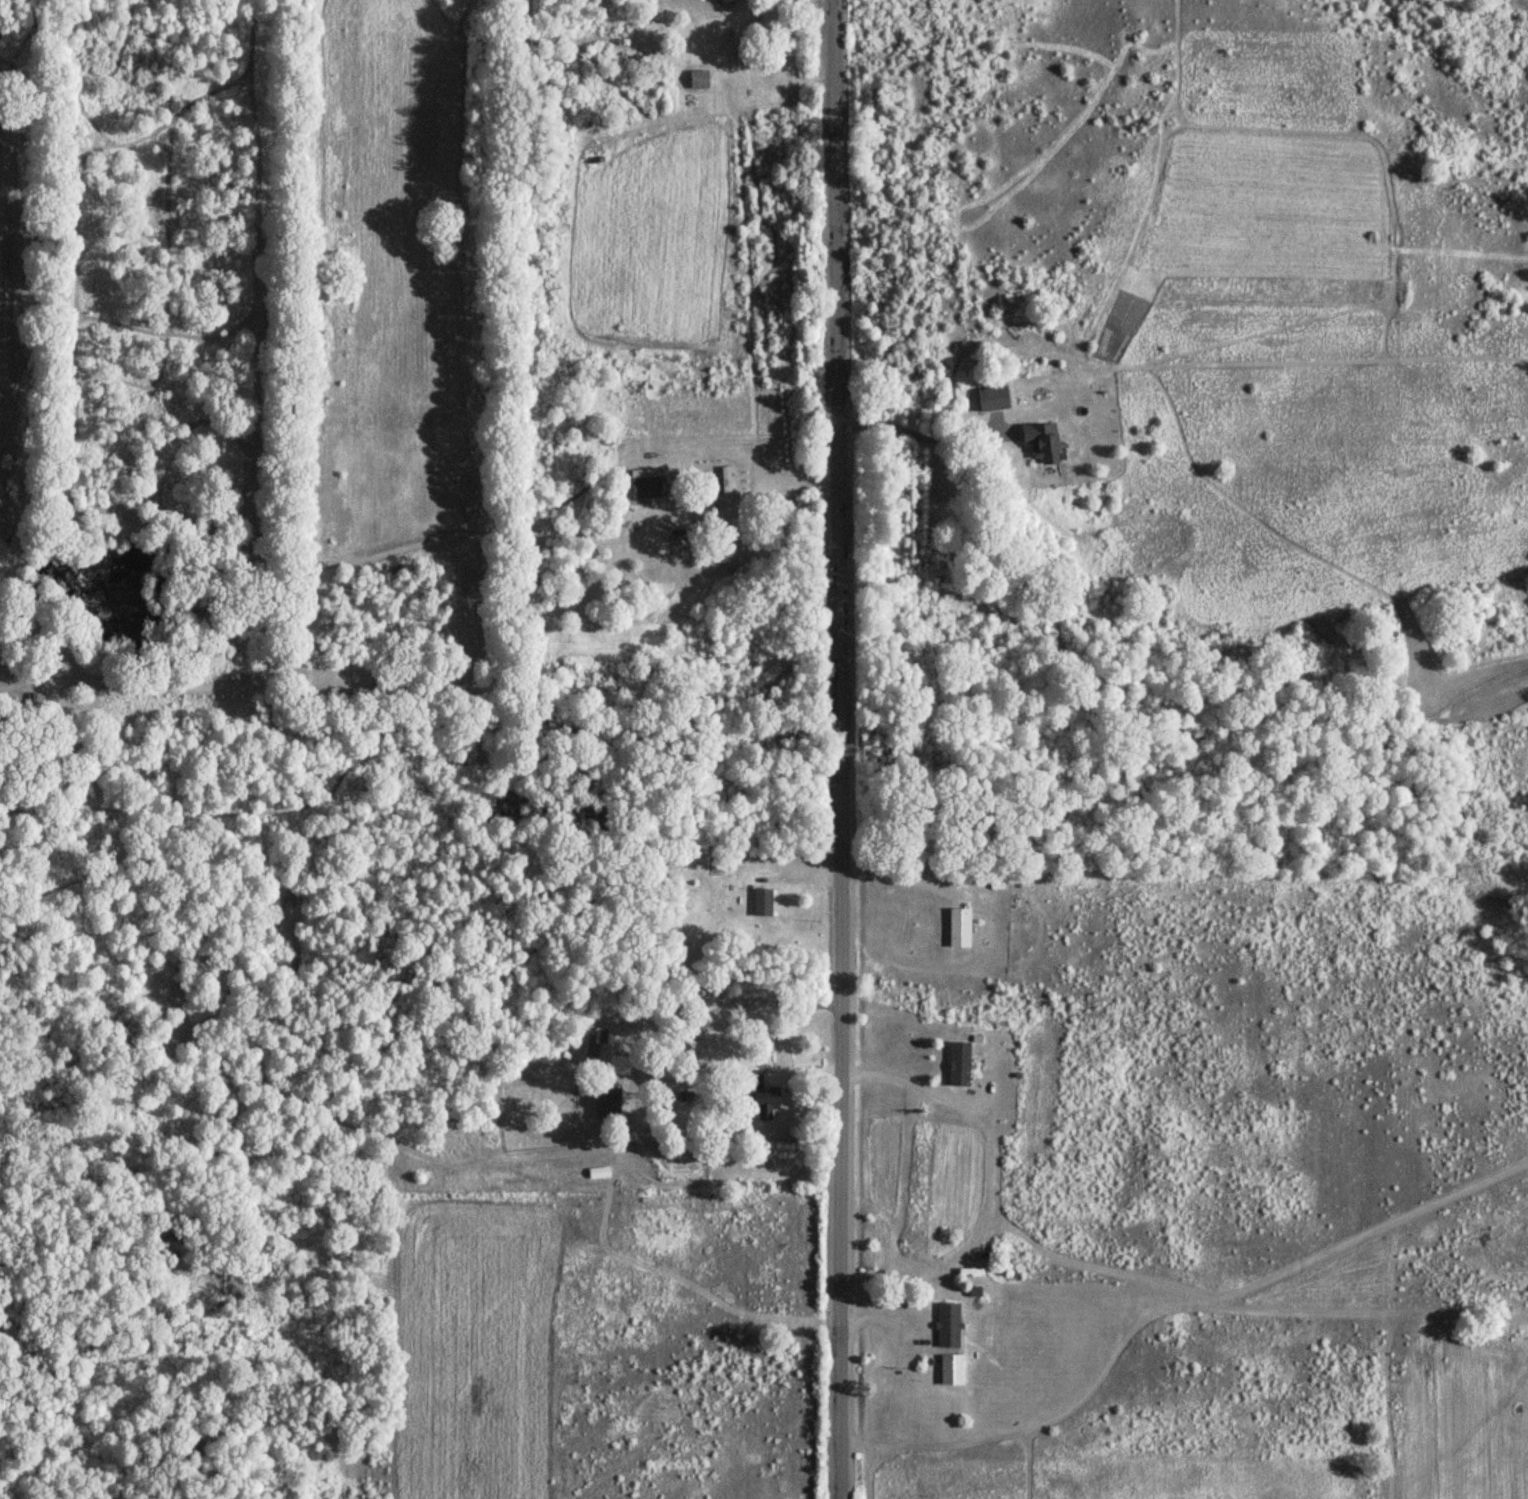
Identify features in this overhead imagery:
building: (697, 79)
building: (990, 397)
road: (919, 435)
building: (1036, 440)
building: (643, 482)
road: (842, 749)
building: (760, 902)
building: (956, 928)
building: (594, 1046)
building: (956, 1064)
building: (758, 1097)
building: (606, 1103)
building: (970, 1292)
building: (946, 1344)

